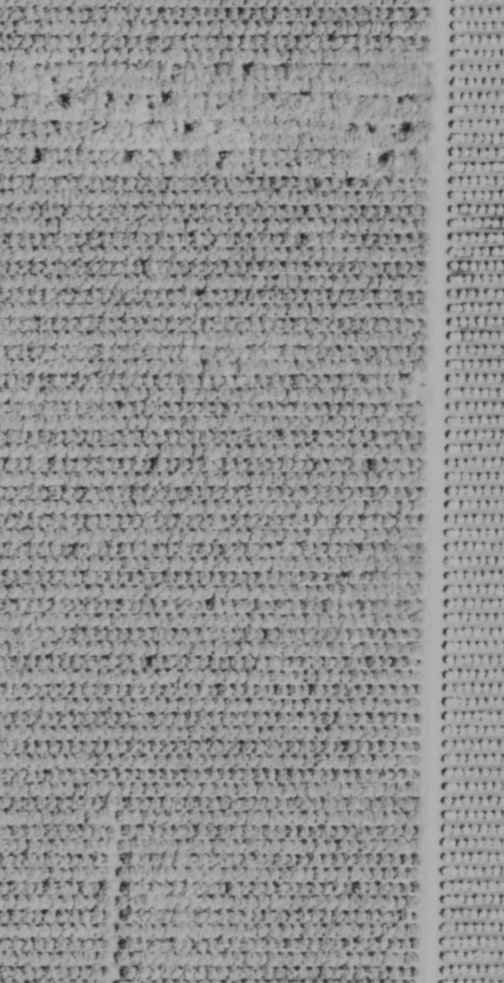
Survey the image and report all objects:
road: (430, 491)

